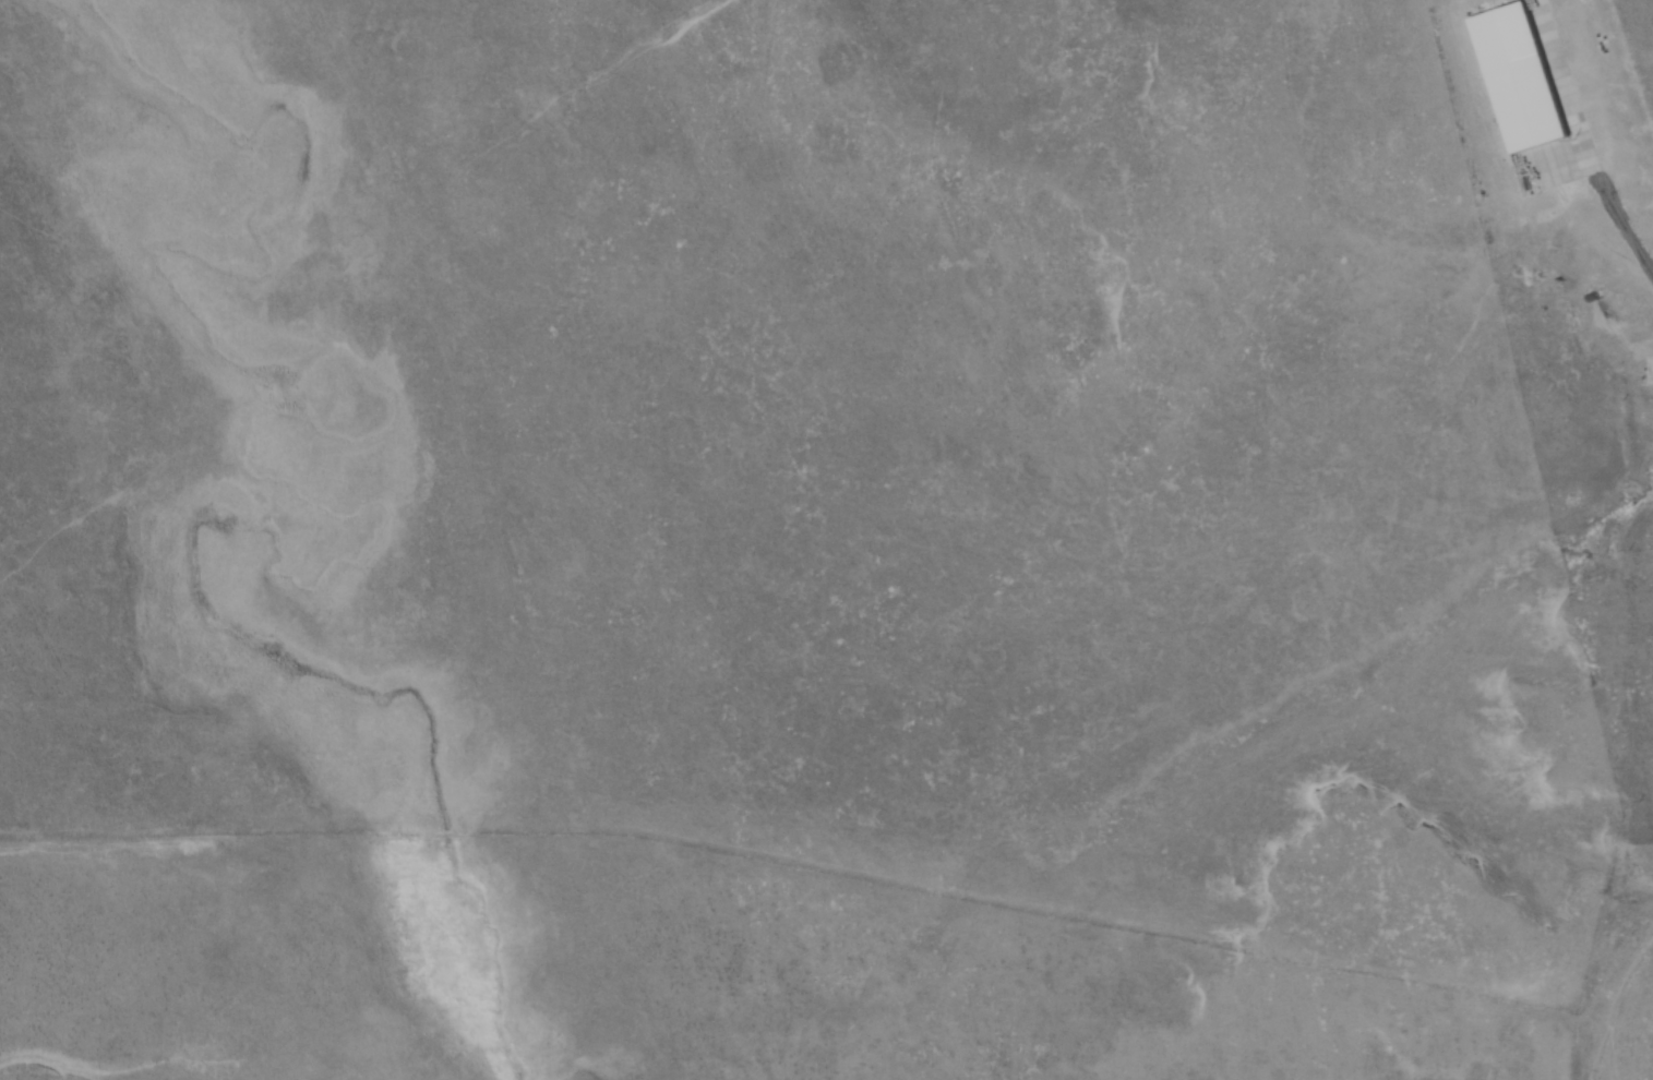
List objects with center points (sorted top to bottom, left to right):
airport runway: (1648, 14)
airport hangar: (1520, 75)
building: (1520, 75)

